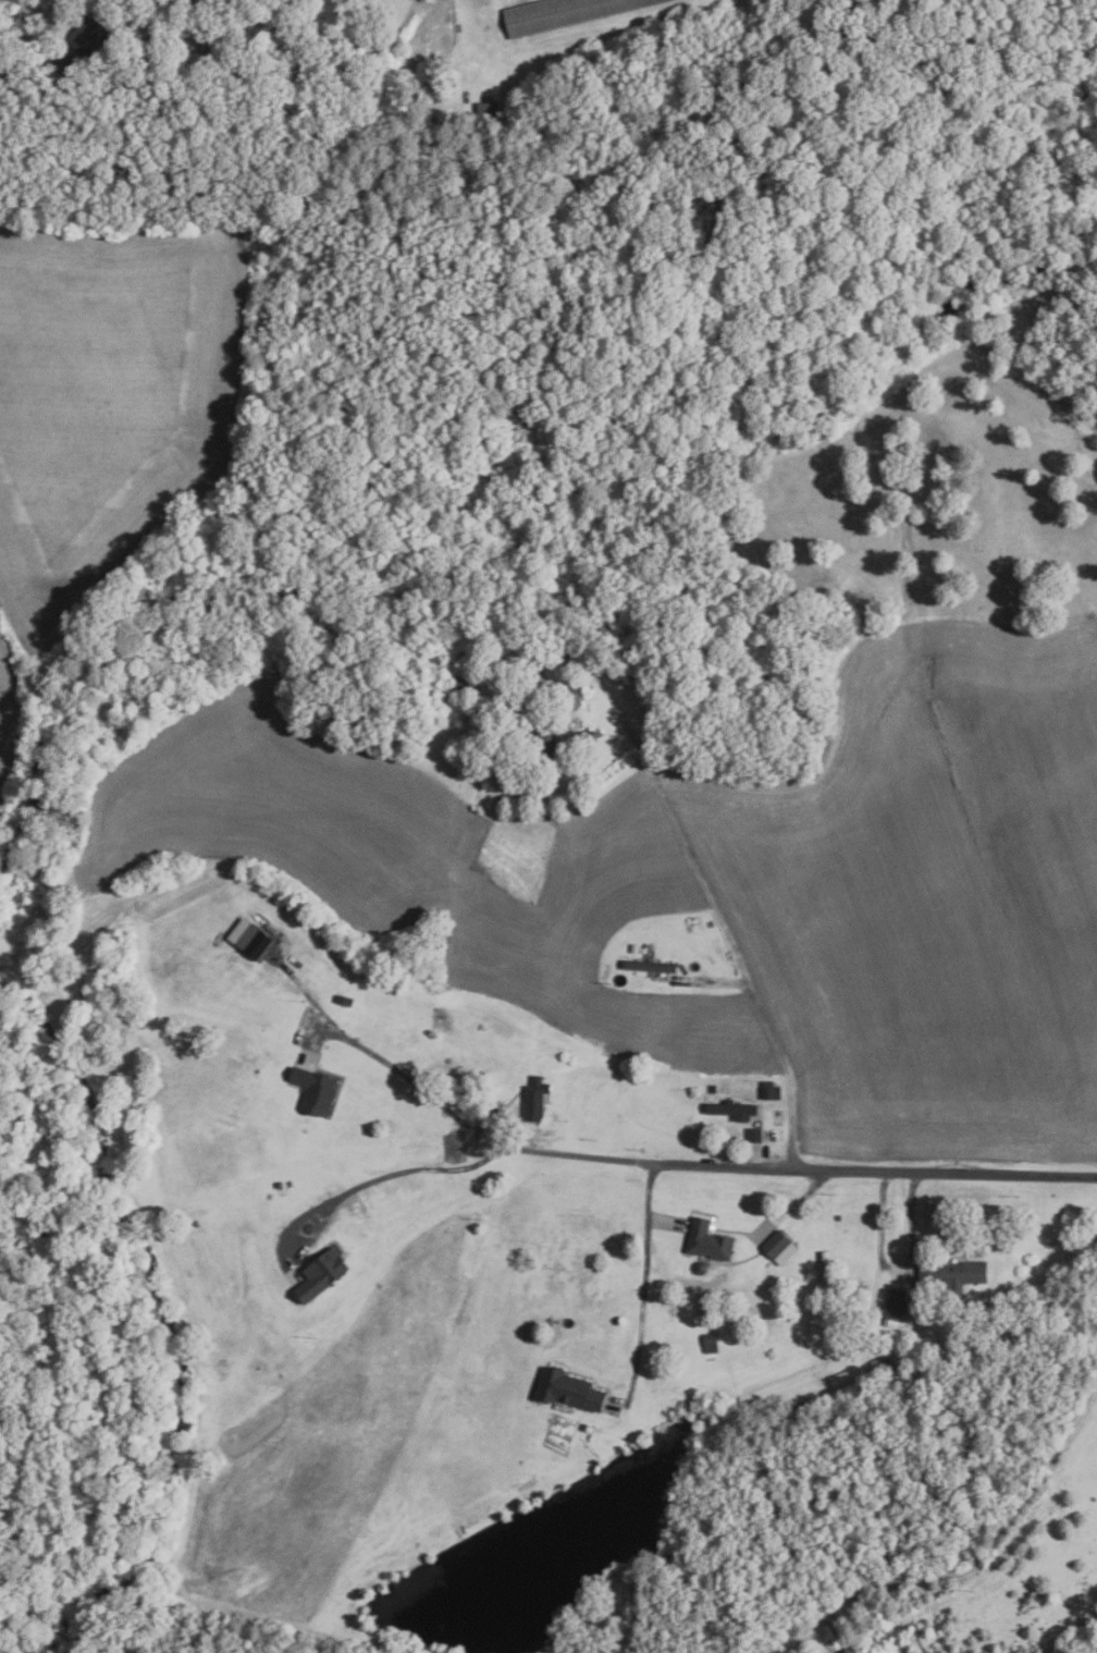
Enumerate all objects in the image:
building: (565, 14)
road: (41, 22)
building: (198, 37)
building: (83, 44)
building: (489, 111)
building: (98, 126)
building: (580, 639)
building: (460, 683)
building: (570, 693)
building: (572, 702)
building: (543, 734)
building: (588, 736)
road: (665, 803)
building: (257, 943)
building: (648, 966)
road: (715, 981)
building: (342, 1000)
road: (787, 1075)
road: (417, 1076)
building: (312, 1090)
building: (768, 1090)
building: (534, 1098)
building: (731, 1109)
building: (753, 1134)
building: (455, 1149)
road: (754, 1156)
road: (404, 1167)
road: (802, 1168)
road: (649, 1190)
road: (663, 1222)
building: (707, 1240)
building: (778, 1247)
building: (320, 1273)
road: (897, 1273)
building: (951, 1275)
building: (895, 1303)
road: (645, 1306)
building: (708, 1343)
building: (880, 1368)
building: (846, 1380)
building: (566, 1389)
building: (582, 1427)
road: (981, 1556)

